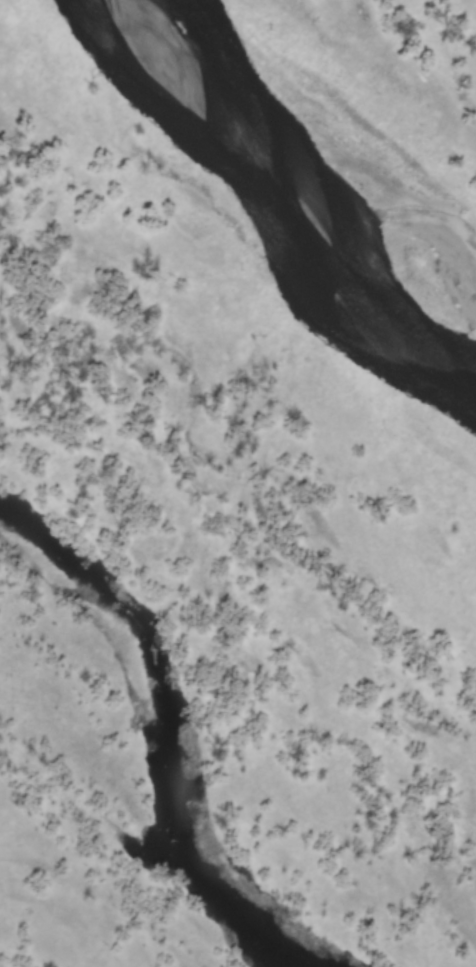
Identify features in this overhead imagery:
river: (291, 206)

